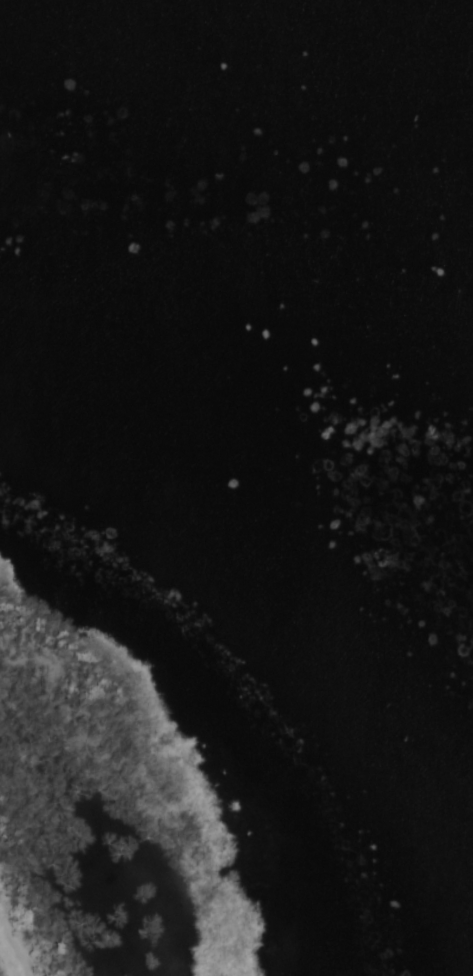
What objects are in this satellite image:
river: (236, 312)

